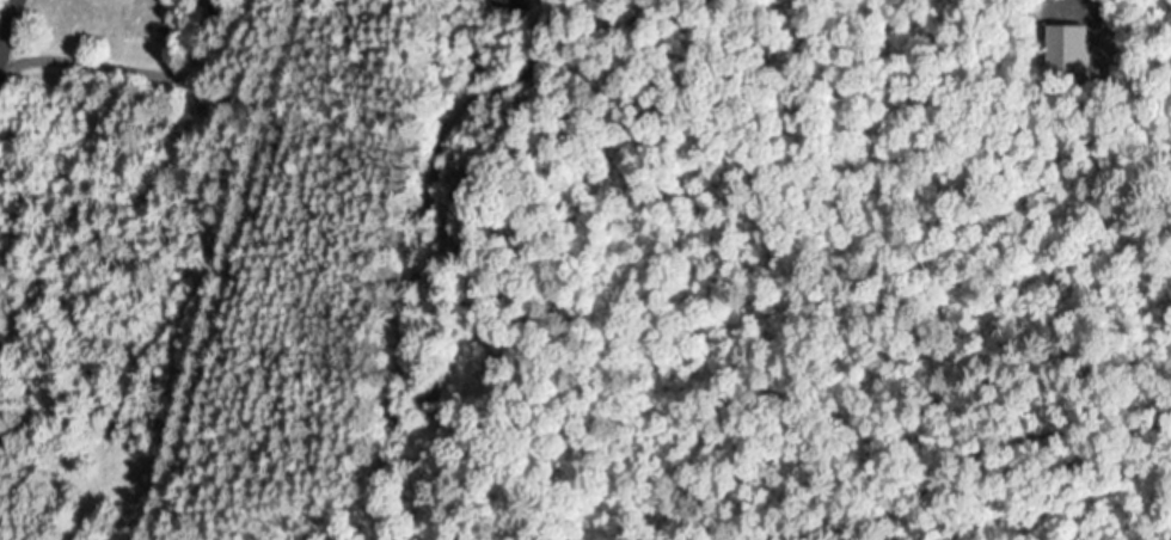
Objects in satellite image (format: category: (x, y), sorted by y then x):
road: (4, 11)
road: (85, 48)
road: (241, 269)

